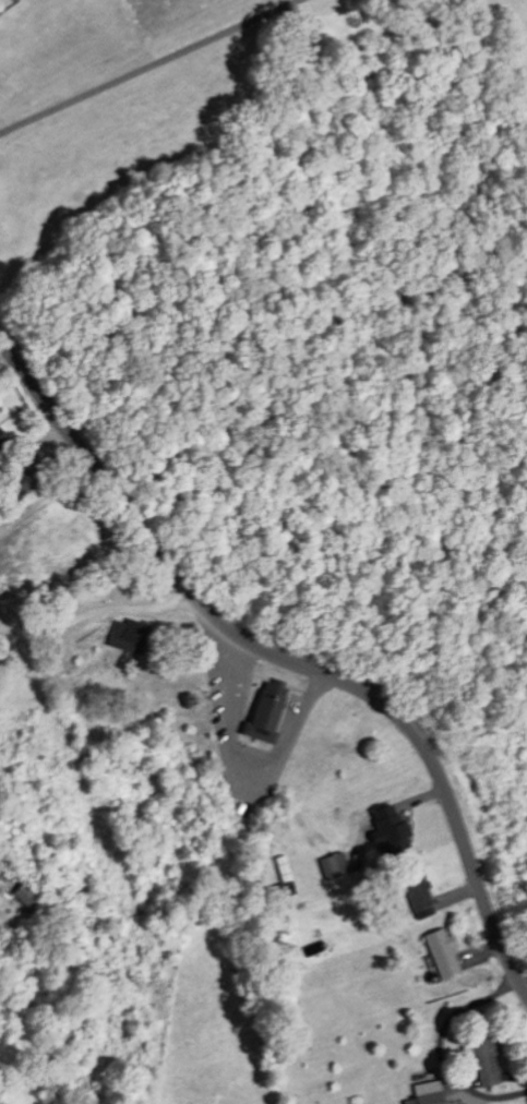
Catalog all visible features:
crop: (160, 13)
road: (147, 68)
building: (0, 439)
road: (91, 612)
road: (282, 664)
building: (266, 715)
building: (387, 830)
building: (284, 876)
building: (418, 895)
building: (25, 897)
building: (442, 951)
building: (483, 1058)
building: (426, 1093)

